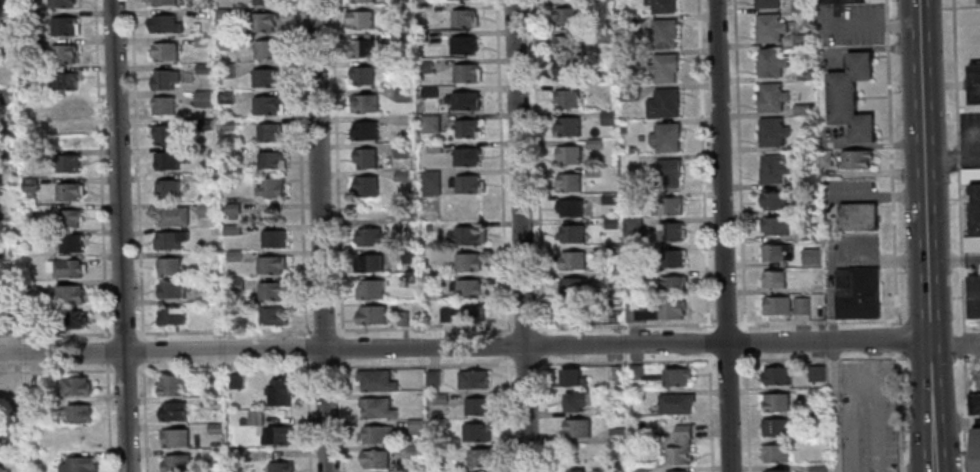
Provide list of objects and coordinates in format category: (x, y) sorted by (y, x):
building: (356, 0)
building: (3, 1)
building: (264, 1)
building: (842, 1)
building: (163, 2)
building: (978, 2)
building: (63, 3)
building: (766, 4)
building: (800, 5)
building: (661, 6)
building: (224, 13)
building: (567, 16)
building: (24, 19)
building: (359, 19)
building: (463, 19)
building: (265, 21)
building: (165, 23)
building: (66, 25)
building: (626, 25)
building: (769, 29)
building: (662, 34)
building: (602, 36)
building: (401, 38)
building: (202, 39)
building: (800, 39)
building: (226, 41)
building: (25, 44)
building: (565, 44)
building: (462, 46)
building: (3, 47)
building: (268, 48)
building: (362, 48)
building: (163, 50)
building: (64, 53)
building: (628, 59)
building: (770, 63)
building: (424, 66)
building: (860, 66)
building: (205, 67)
building: (664, 68)
building: (226, 69)
building: (565, 71)
building: (465, 73)
road: (955, 73)
building: (26, 74)
building: (803, 75)
building: (266, 76)
building: (362, 76)
building: (165, 79)
building: (64, 80)
building: (975, 83)
building: (428, 92)
building: (628, 93)
building: (227, 94)
building: (402, 94)
building: (5, 97)
building: (203, 97)
building: (566, 98)
building: (771, 98)
building: (841, 98)
building: (35, 100)
building: (463, 101)
building: (364, 103)
building: (268, 104)
building: (164, 105)
building: (662, 105)
road: (968, 105)
building: (64, 108)
building: (802, 109)
building: (608, 118)
building: (5, 119)
building: (205, 122)
building: (228, 123)
building: (430, 124)
building: (568, 127)
building: (466, 129)
building: (621, 129)
building: (861, 129)
building: (364, 131)
building: (270, 132)
building: (771, 132)
building: (163, 134)
parking lot: (970, 137)
building: (665, 138)
building: (8, 143)
building: (594, 144)
building: (804, 144)
building: (433, 147)
building: (228, 149)
building: (400, 150)
building: (631, 150)
building: (568, 155)
building: (27, 156)
building: (465, 156)
road: (958, 157)
building: (171, 159)
building: (365, 159)
building: (824, 159)
building: (271, 160)
road: (951, 160)
building: (629, 161)
building: (855, 161)
building: (68, 162)
road: (891, 162)
road: (703, 164)
road: (739, 165)
road: (99, 169)
road: (137, 169)
building: (772, 170)
building: (593, 172)
building: (665, 173)
building: (971, 175)
building: (401, 176)
building: (802, 181)
building: (570, 182)
building: (430, 183)
building: (28, 185)
building: (271, 185)
building: (467, 185)
building: (168, 187)
building: (365, 187)
building: (69, 190)
building: (609, 199)
building: (772, 201)
building: (670, 206)
building: (33, 208)
building: (206, 208)
building: (233, 208)
building: (570, 208)
building: (807, 209)
building: (976, 209)
building: (173, 215)
building: (1, 217)
building: (72, 217)
building: (857, 218)
building: (611, 224)
building: (776, 226)
building: (428, 227)
building: (232, 228)
building: (632, 228)
building: (671, 232)
building: (571, 234)
building: (807, 235)
road: (925, 235)
road: (119, 236)
road: (303, 236)
road: (319, 236)
road: (338, 236)
building: (467, 236)
road: (503, 236)
road: (520, 236)
road: (540, 236)
road: (722, 236)
building: (273, 237)
building: (370, 237)
building: (171, 238)
building: (71, 242)
building: (972, 243)
building: (612, 250)
building: (774, 252)
building: (234, 254)
building: (208, 255)
building: (408, 255)
building: (672, 259)
road: (972, 260)
building: (572, 261)
road: (945, 261)
building: (467, 262)
building: (272, 263)
building: (370, 263)
building: (7, 264)
building: (168, 265)
building: (66, 267)
building: (632, 275)
building: (773, 279)
building: (432, 280)
building: (236, 286)
building: (673, 286)
building: (573, 287)
building: (816, 287)
building: (4, 288)
building: (173, 288)
building: (273, 289)
building: (469, 289)
building: (370, 290)
building: (211, 291)
building: (70, 293)
building: (976, 295)
building: (859, 296)
building: (800, 305)
building: (777, 306)
building: (572, 310)
building: (655, 312)
building: (463, 313)
building: (171, 314)
building: (274, 315)
building: (379, 316)
building: (75, 318)
road: (963, 320)
road: (816, 321)
building: (32, 323)
road: (726, 323)
building: (11, 325)
road: (425, 327)
road: (124, 332)
road: (56, 333)
road: (896, 338)
road: (954, 340)
road: (708, 341)
road: (744, 342)
road: (464, 347)
road: (142, 350)
road: (106, 351)
road: (783, 358)
road: (863, 358)
road: (727, 359)
road: (626, 361)
road: (525, 363)
road: (324, 367)
road: (124, 368)
road: (57, 370)
building: (635, 372)
building: (613, 373)
building: (816, 373)
parking lot: (972, 374)
building: (570, 376)
building: (776, 376)
building: (675, 377)
building: (431, 378)
building: (472, 379)
building: (374, 380)
building: (233, 382)
building: (76, 385)
building: (168, 385)
building: (279, 392)
building: (438, 399)
building: (575, 400)
building: (673, 402)
building: (776, 402)
building: (976, 403)
building: (476, 406)
road: (835, 406)
building: (375, 407)
building: (615, 408)
road: (710, 411)
road: (899, 411)
building: (76, 412)
building: (172, 412)
road: (747, 412)
building: (435, 414)
road: (143, 416)
parking lot: (867, 416)
road: (108, 417)
building: (254, 418)
building: (817, 418)
building: (241, 421)
building: (431, 424)
building: (413, 427)
building: (575, 428)
building: (774, 428)
building: (214, 429)
building: (15, 432)
building: (474, 432)
building: (375, 434)
building: (279, 435)
building: (616, 435)
building: (174, 439)
building: (678, 447)
building: (975, 451)
building: (414, 452)
building: (237, 454)
building: (775, 454)
building: (477, 457)
building: (373, 459)
building: (78, 464)
building: (174, 464)
building: (279, 468)
building: (816, 468)
building: (575, 470)
building: (638, 470)
building: (776, 470)
building: (680, 471)

